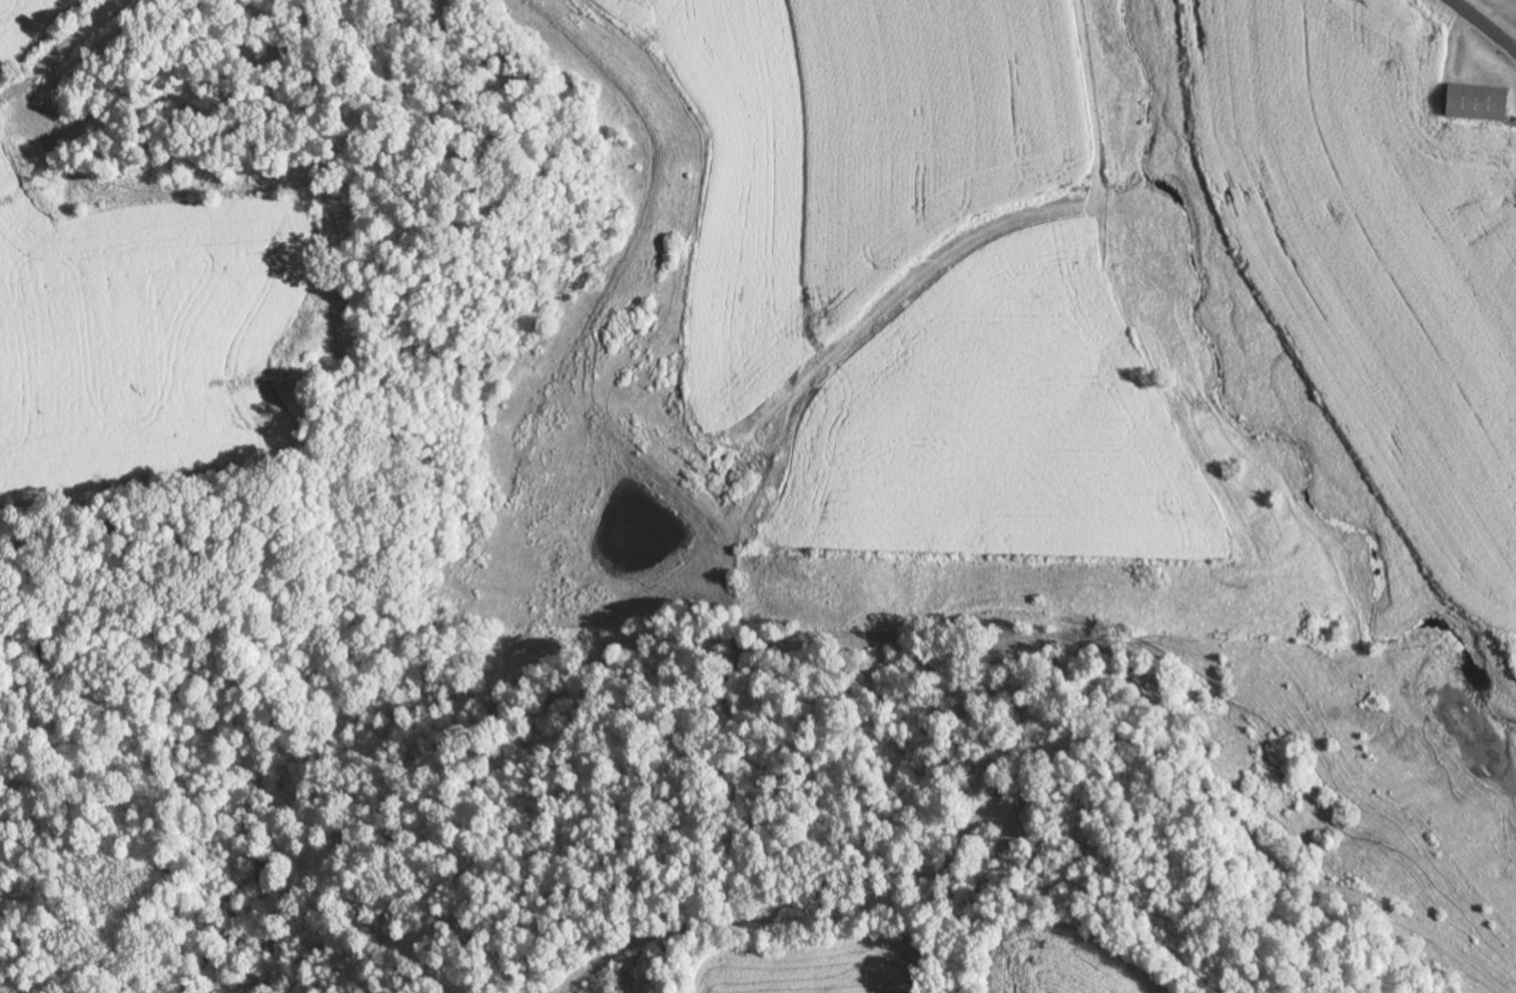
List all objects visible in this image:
road: (1483, 25)
building: (1482, 102)

